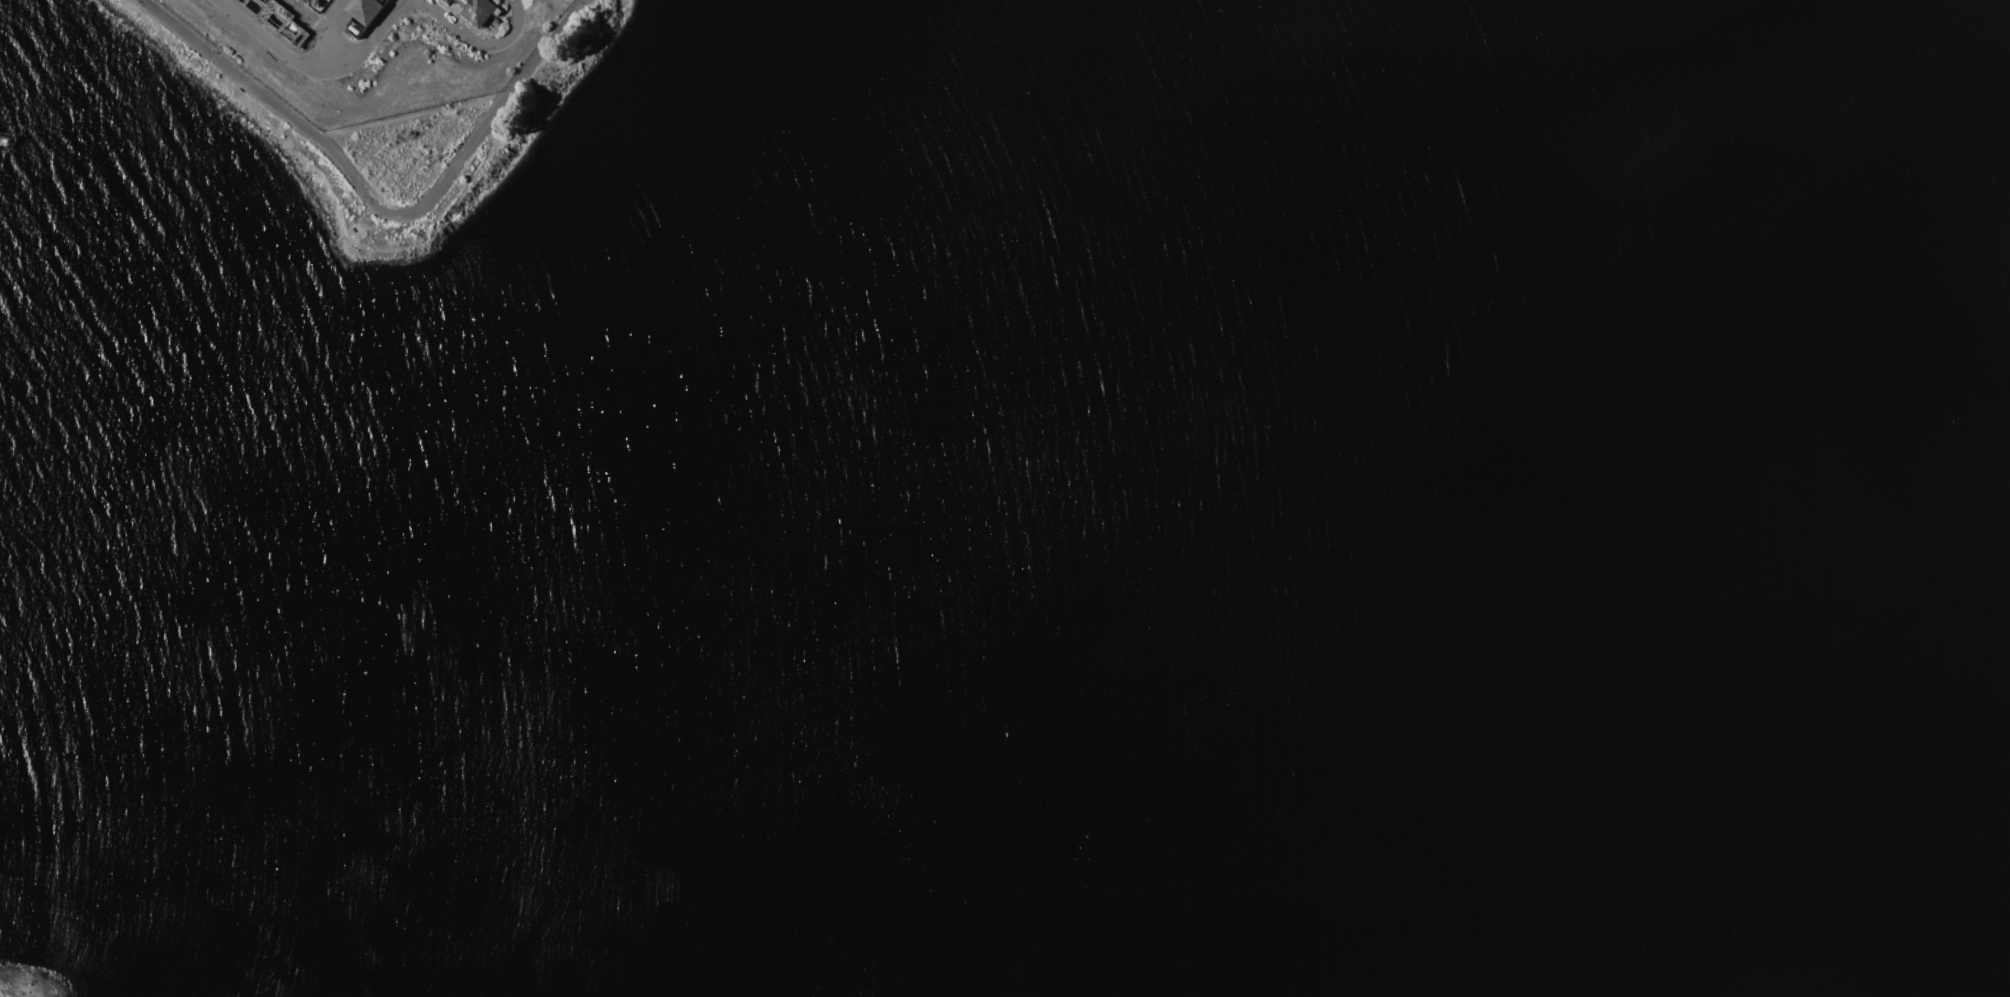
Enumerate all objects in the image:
building: (448, 1)
building: (365, 10)
building: (479, 10)
building: (497, 20)
building: (270, 24)
building: (355, 29)
road: (479, 44)
wastewater plant: (372, 49)
road: (313, 68)
park: (266, 121)
pier: (4, 143)
road: (376, 203)
park: (31, 982)

